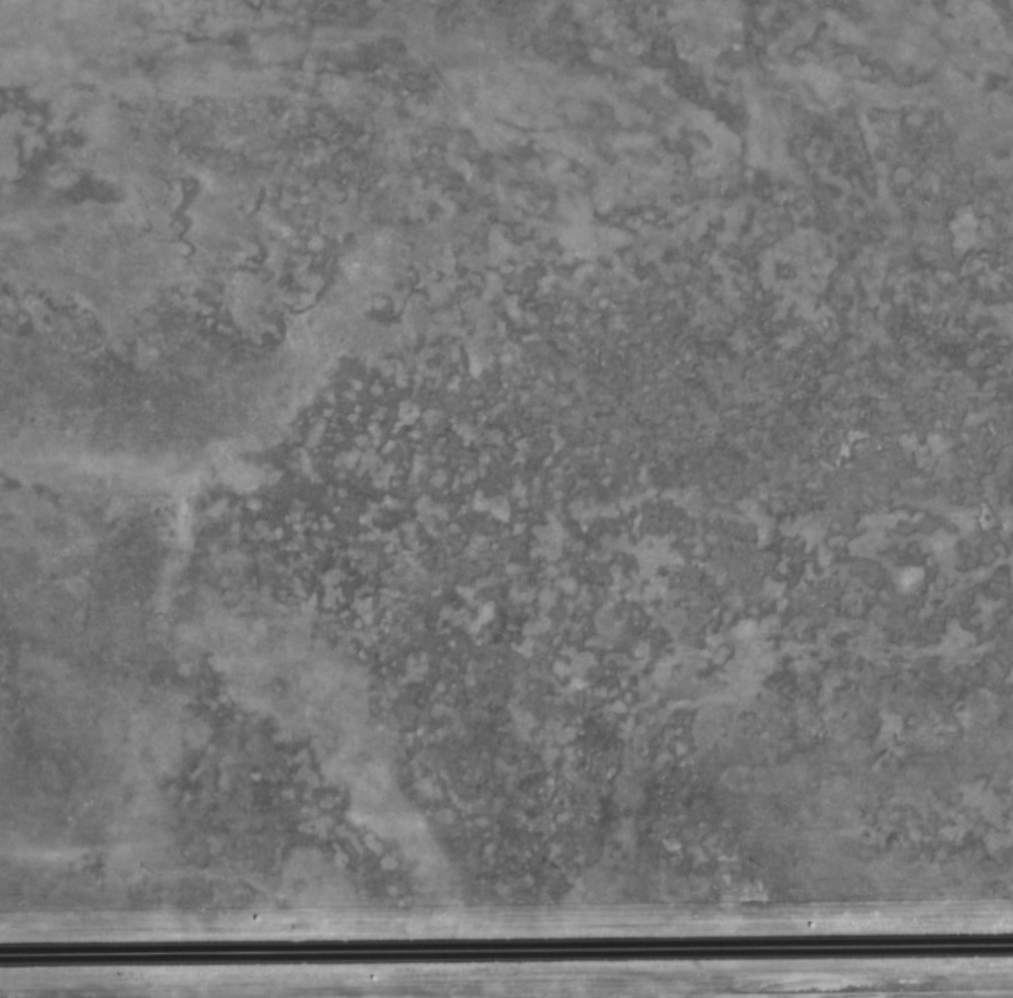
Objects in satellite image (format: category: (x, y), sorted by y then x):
road: (506, 956)

